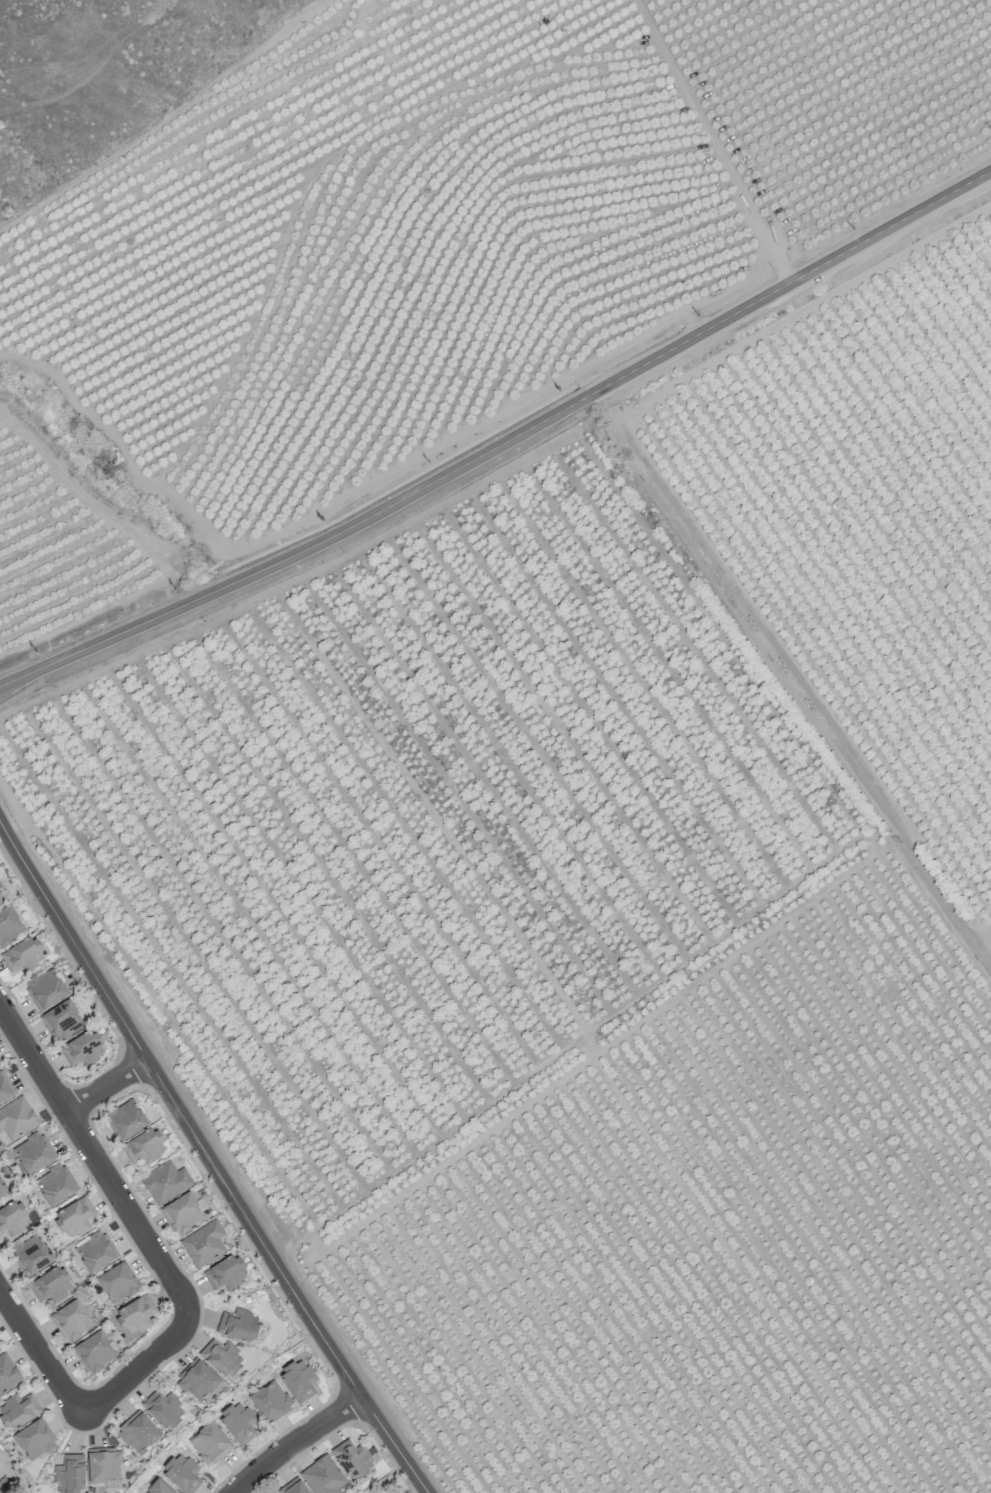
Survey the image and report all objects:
road: (793, 279)
road: (303, 549)
road: (794, 676)
building: (1, 901)
building: (9, 926)
building: (23, 955)
building: (45, 989)
building: (62, 1021)
building: (83, 1049)
road: (110, 1087)
building: (4, 1089)
building: (17, 1118)
building: (125, 1120)
building: (144, 1146)
building: (33, 1153)
road: (210, 1159)
road: (100, 1161)
building: (165, 1182)
building: (55, 1185)
building: (2, 1191)
building: (182, 1213)
building: (13, 1218)
building: (74, 1218)
building: (203, 1243)
building: (95, 1252)
building: (31, 1254)
building: (226, 1273)
building: (117, 1283)
building: (51, 1285)
building: (135, 1315)
building: (71, 1320)
building: (238, 1325)
building: (94, 1351)
road: (43, 1353)
building: (221, 1357)
road: (140, 1372)
building: (8, 1373)
building: (196, 1380)
building: (298, 1380)
building: (270, 1401)
building: (163, 1409)
building: (18, 1410)
building: (138, 1432)
building: (34, 1440)
road: (295, 1442)
building: (209, 1443)
building: (352, 1459)
building: (104, 1465)
building: (182, 1473)
building: (324, 1476)
building: (159, 1487)
building: (293, 1487)

